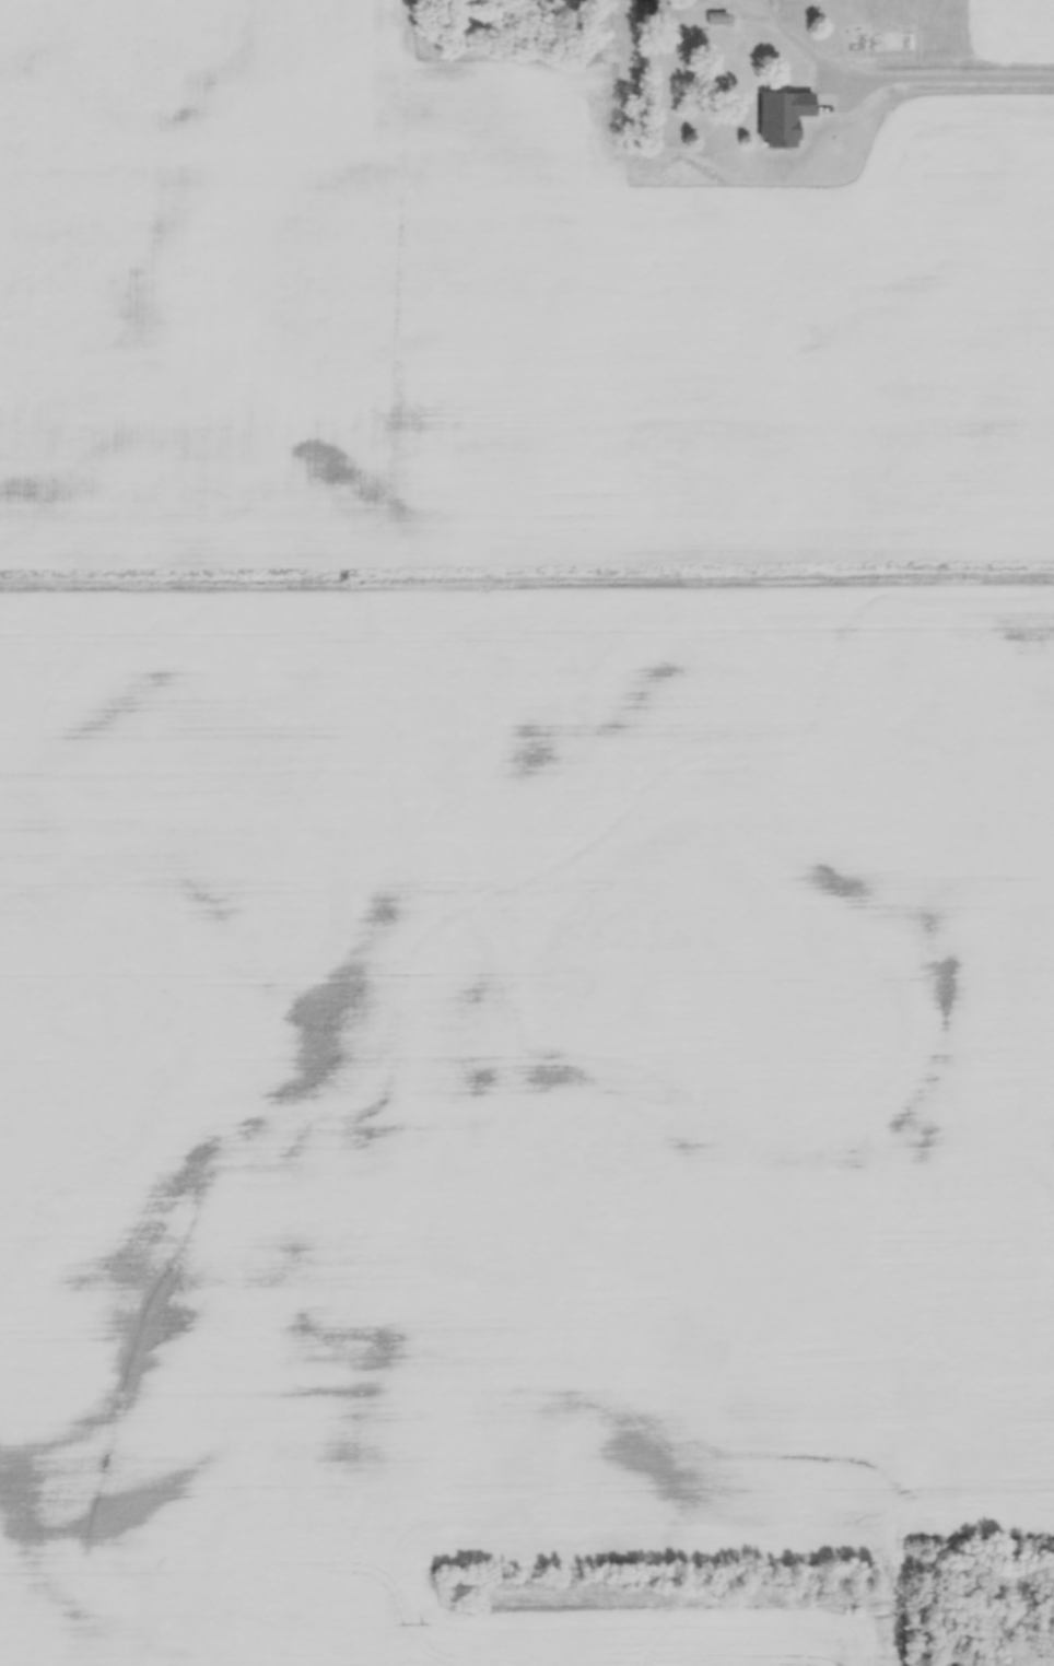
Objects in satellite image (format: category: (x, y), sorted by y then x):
building: (718, 16)
road: (762, 17)
road: (902, 78)
building: (787, 116)

